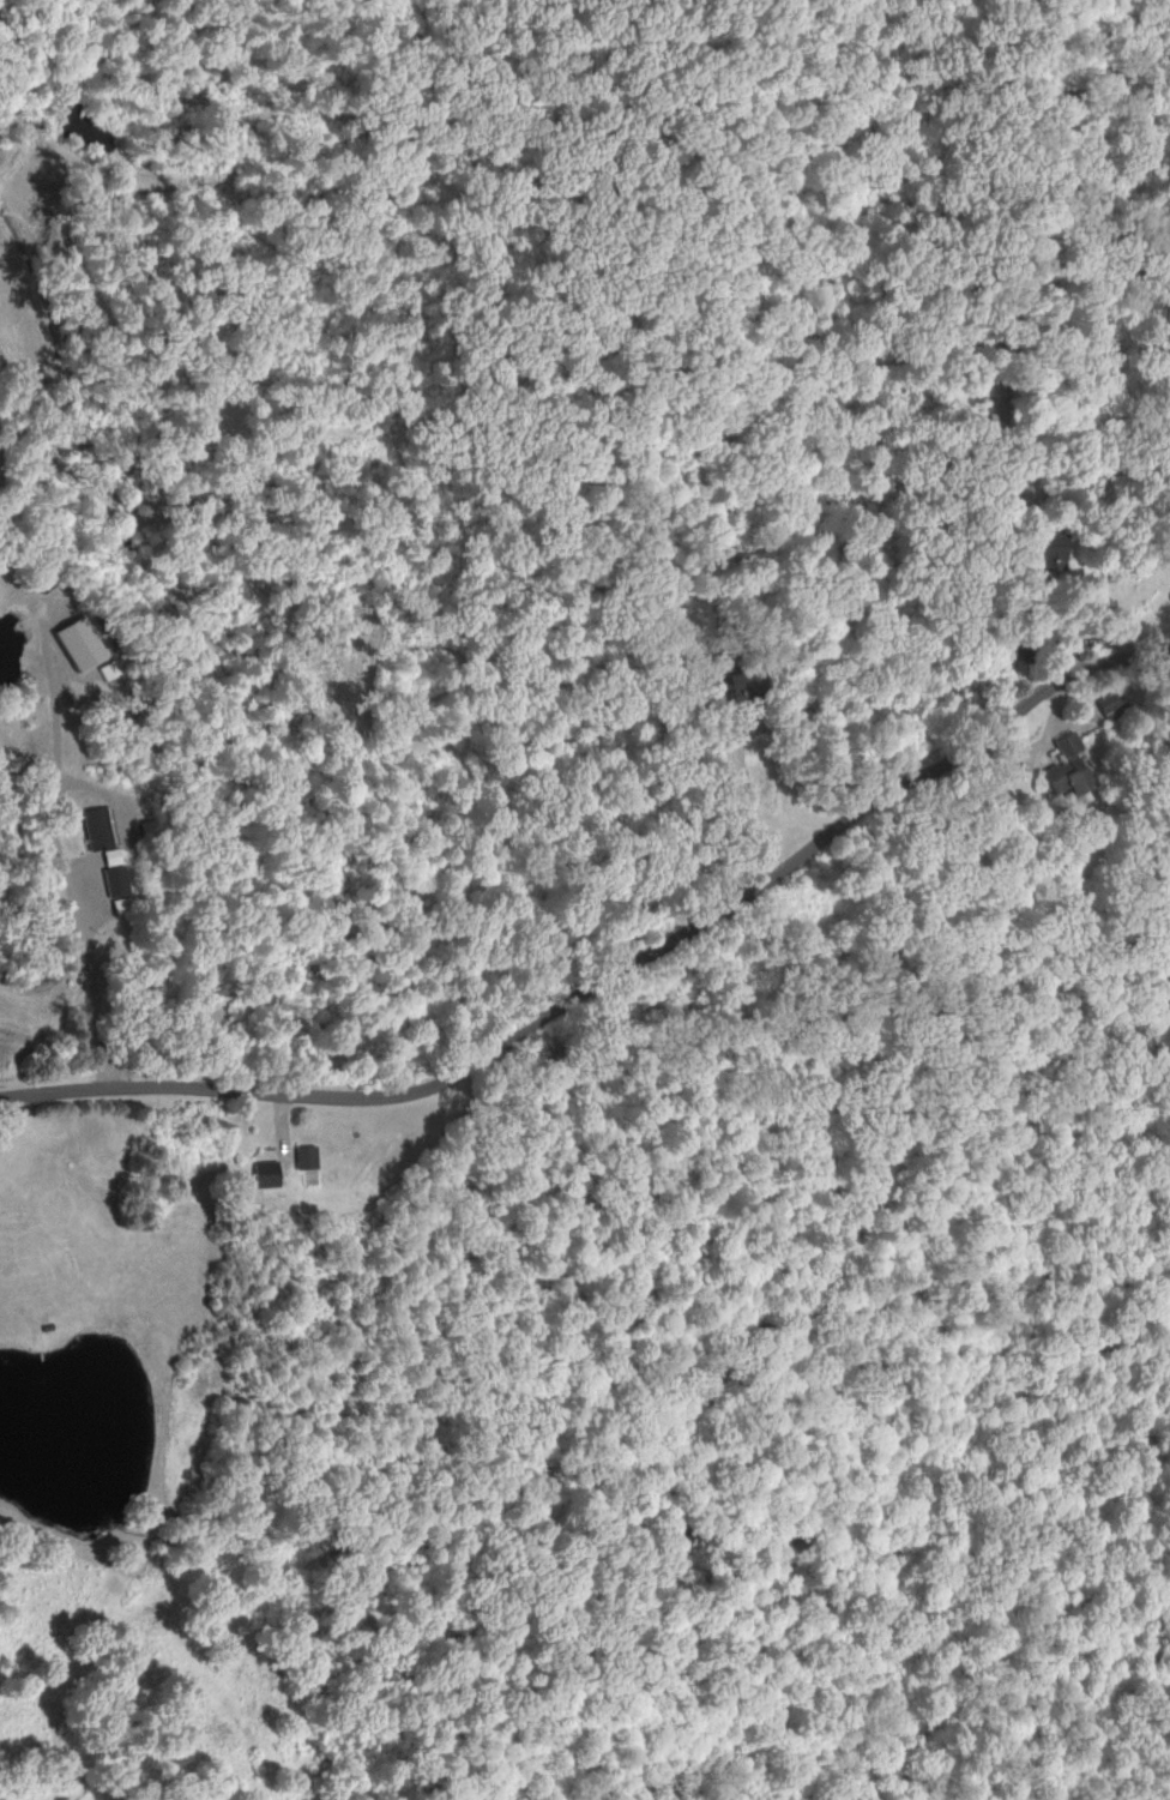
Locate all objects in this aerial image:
building: (1044, 546)
building: (73, 643)
building: (726, 687)
building: (1108, 705)
building: (1063, 767)
building: (92, 827)
road: (665, 945)
road: (86, 973)
building: (523, 1022)
road: (53, 1089)
building: (302, 1155)
building: (263, 1172)

